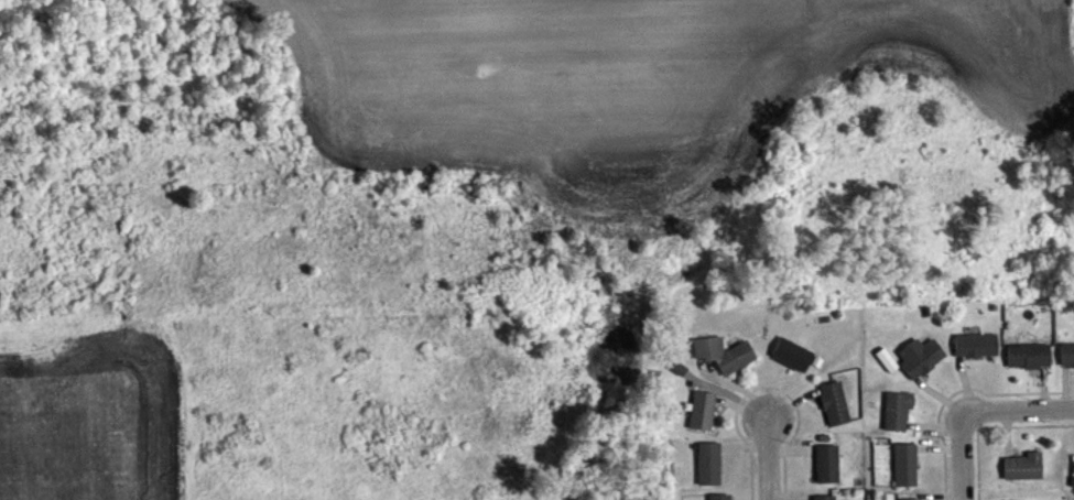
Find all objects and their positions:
building: (975, 345)
building: (723, 354)
building: (792, 355)
building: (1066, 355)
building: (1028, 356)
building: (921, 357)
building: (834, 403)
building: (702, 411)
building: (897, 411)
road: (1019, 413)
road: (964, 457)
road: (772, 459)
building: (708, 464)
building: (827, 464)
building: (904, 465)
building: (1022, 467)
building: (719, 497)
building: (823, 498)

